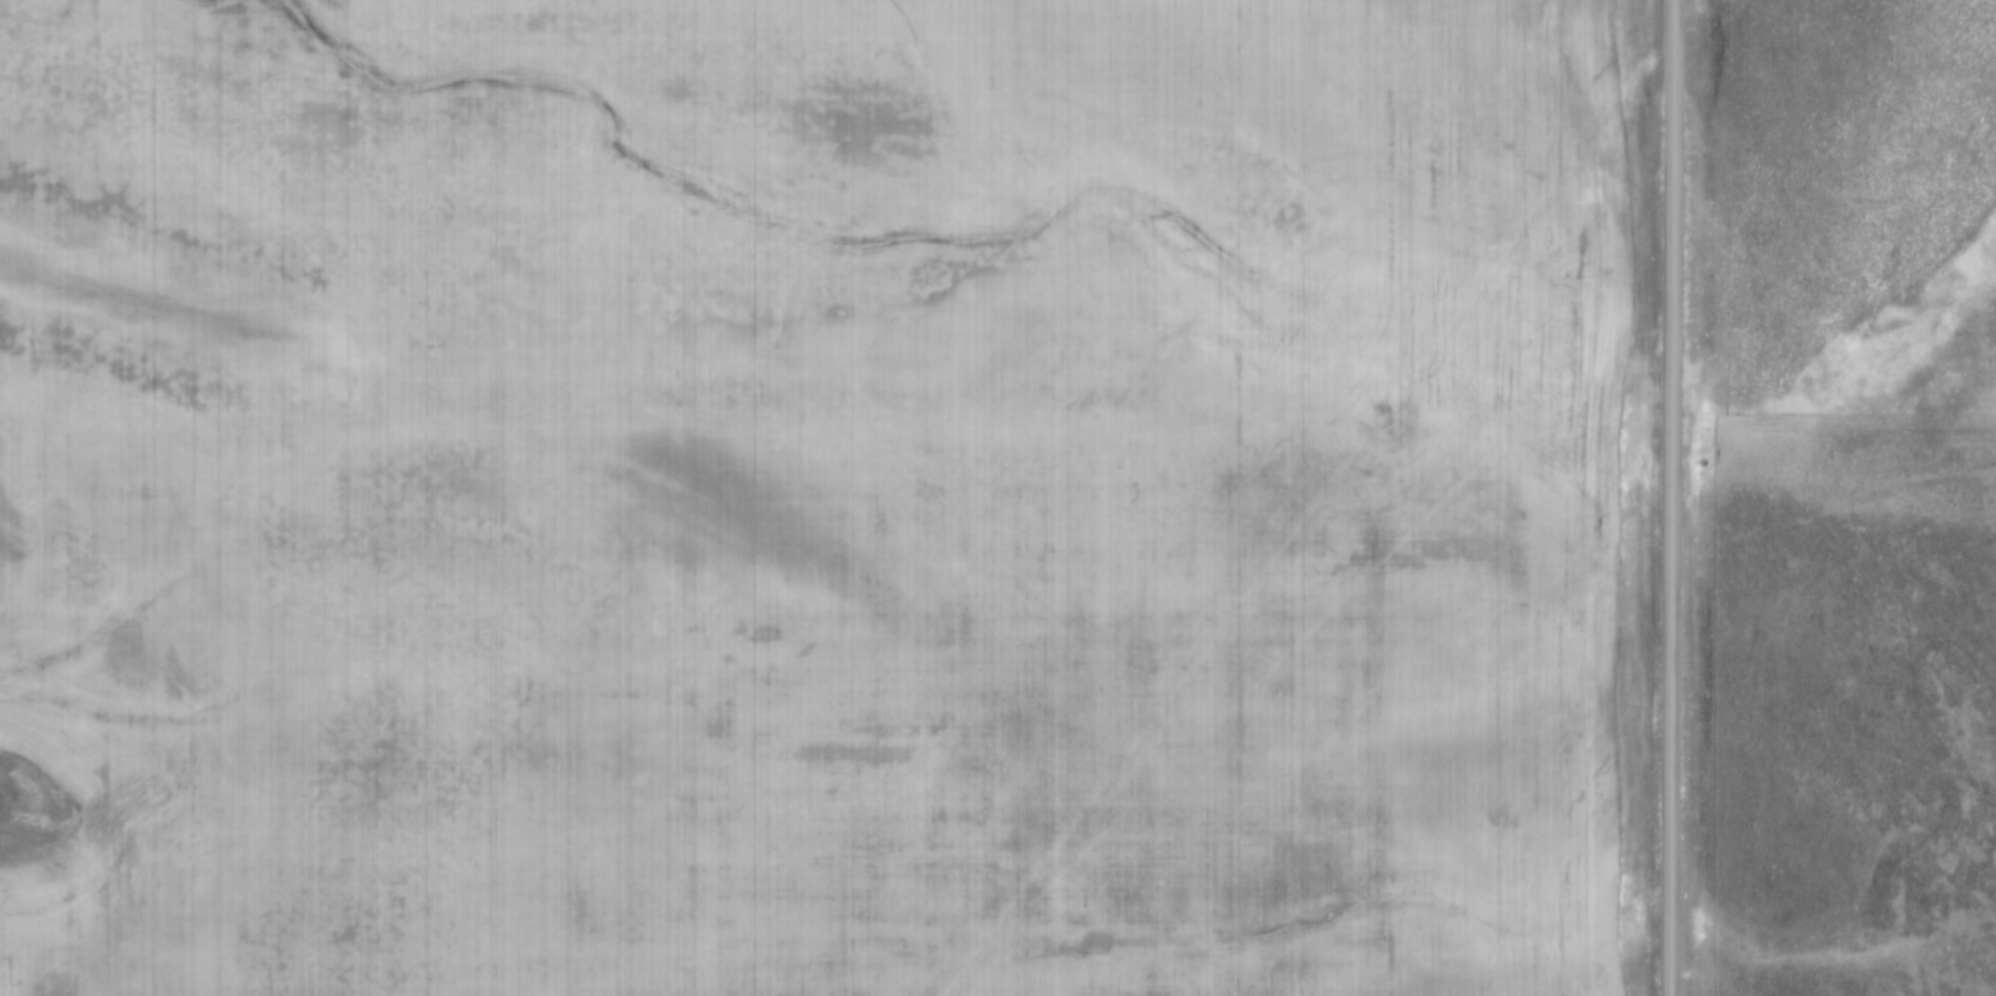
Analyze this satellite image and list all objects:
road: (1672, 498)

